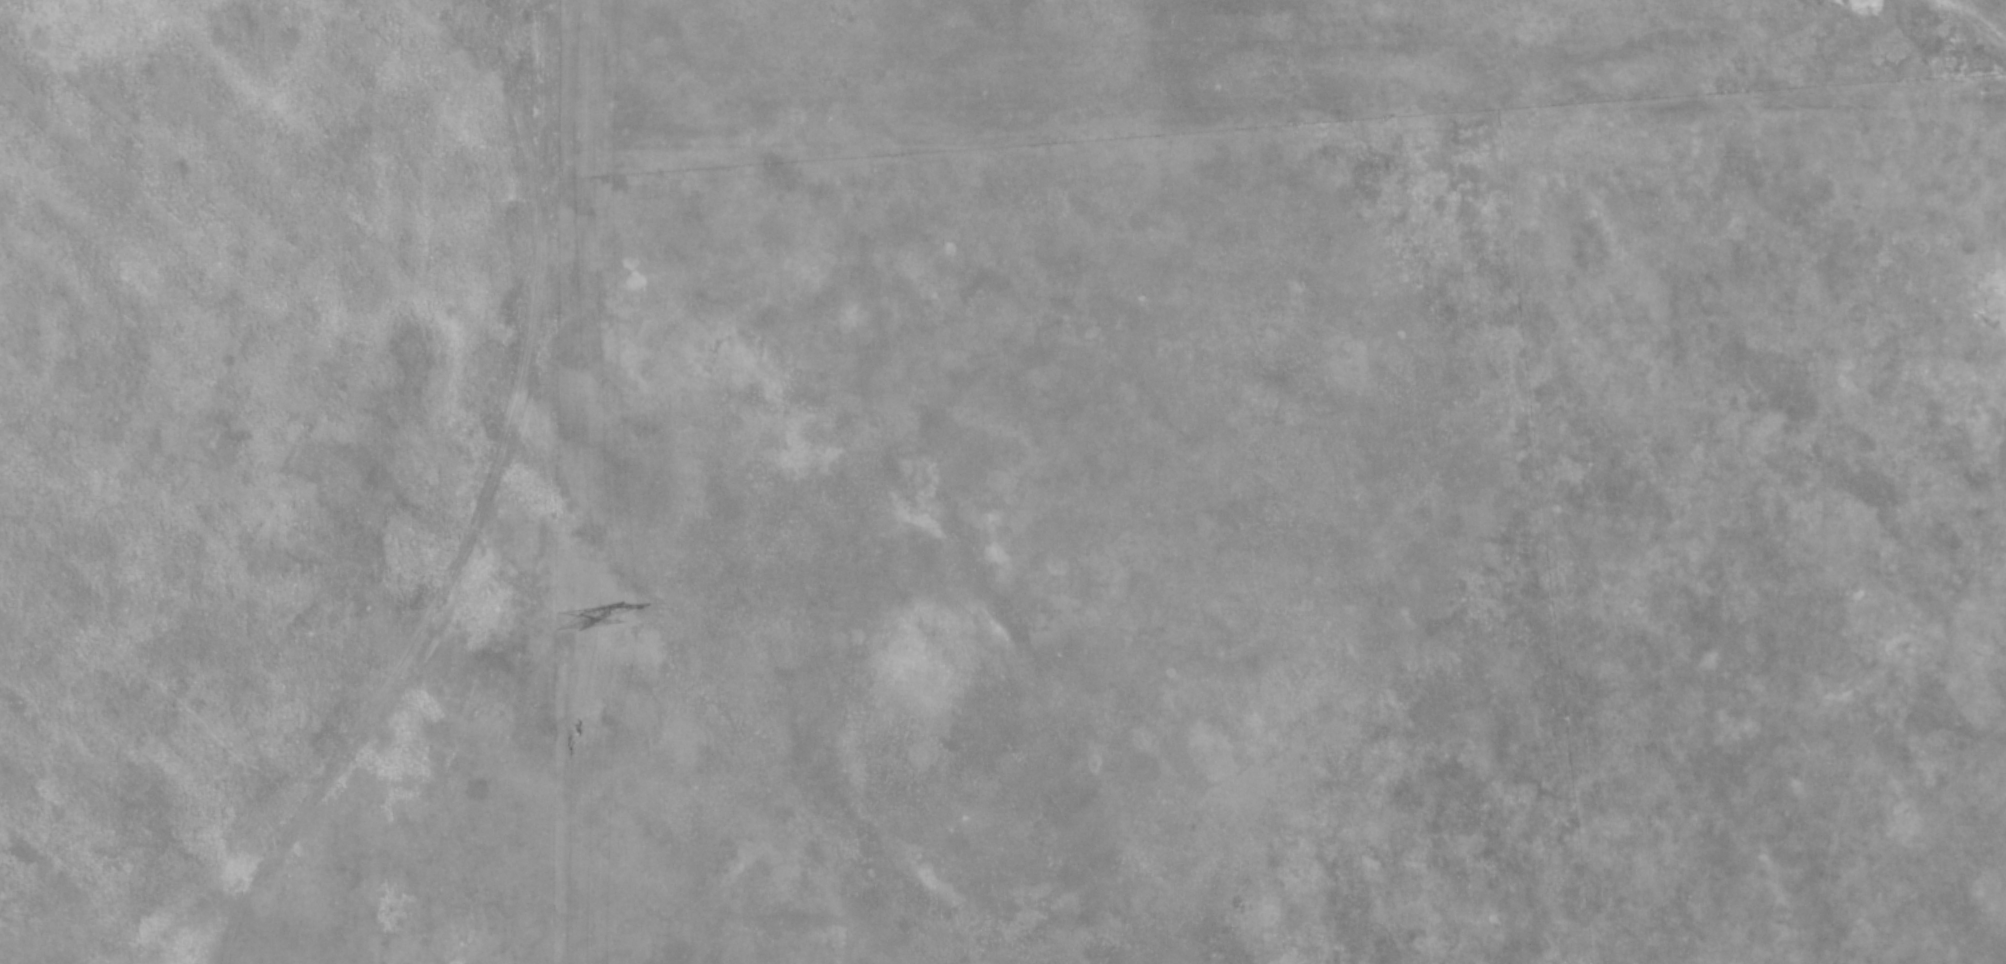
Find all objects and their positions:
power tower: (567, 622)

